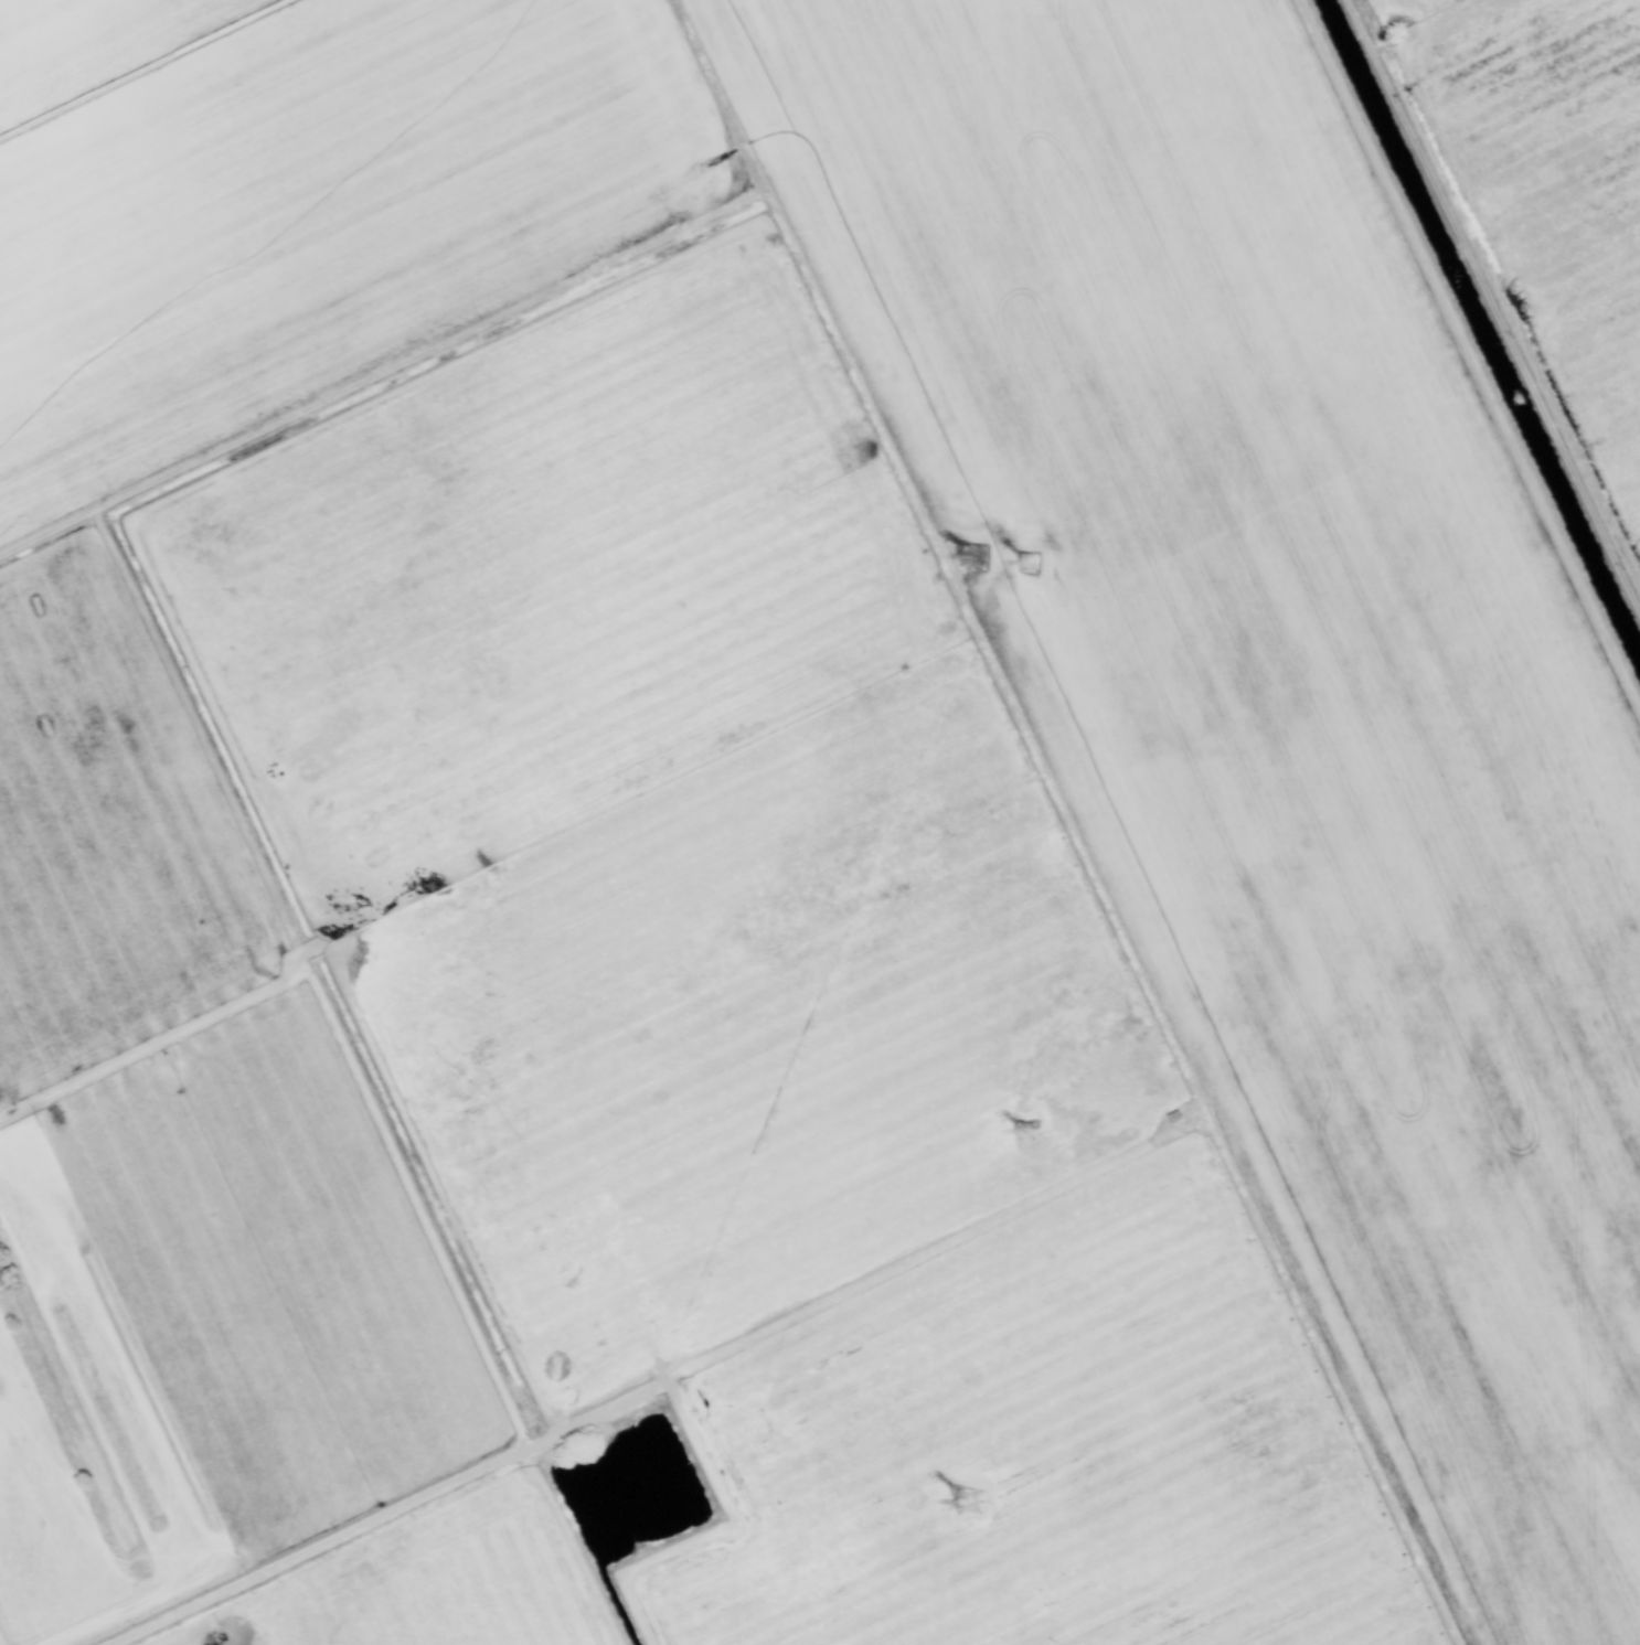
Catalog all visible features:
power tower: (976, 557)
power tower: (1030, 565)
power tower: (1027, 1133)
power tower: (971, 1504)

